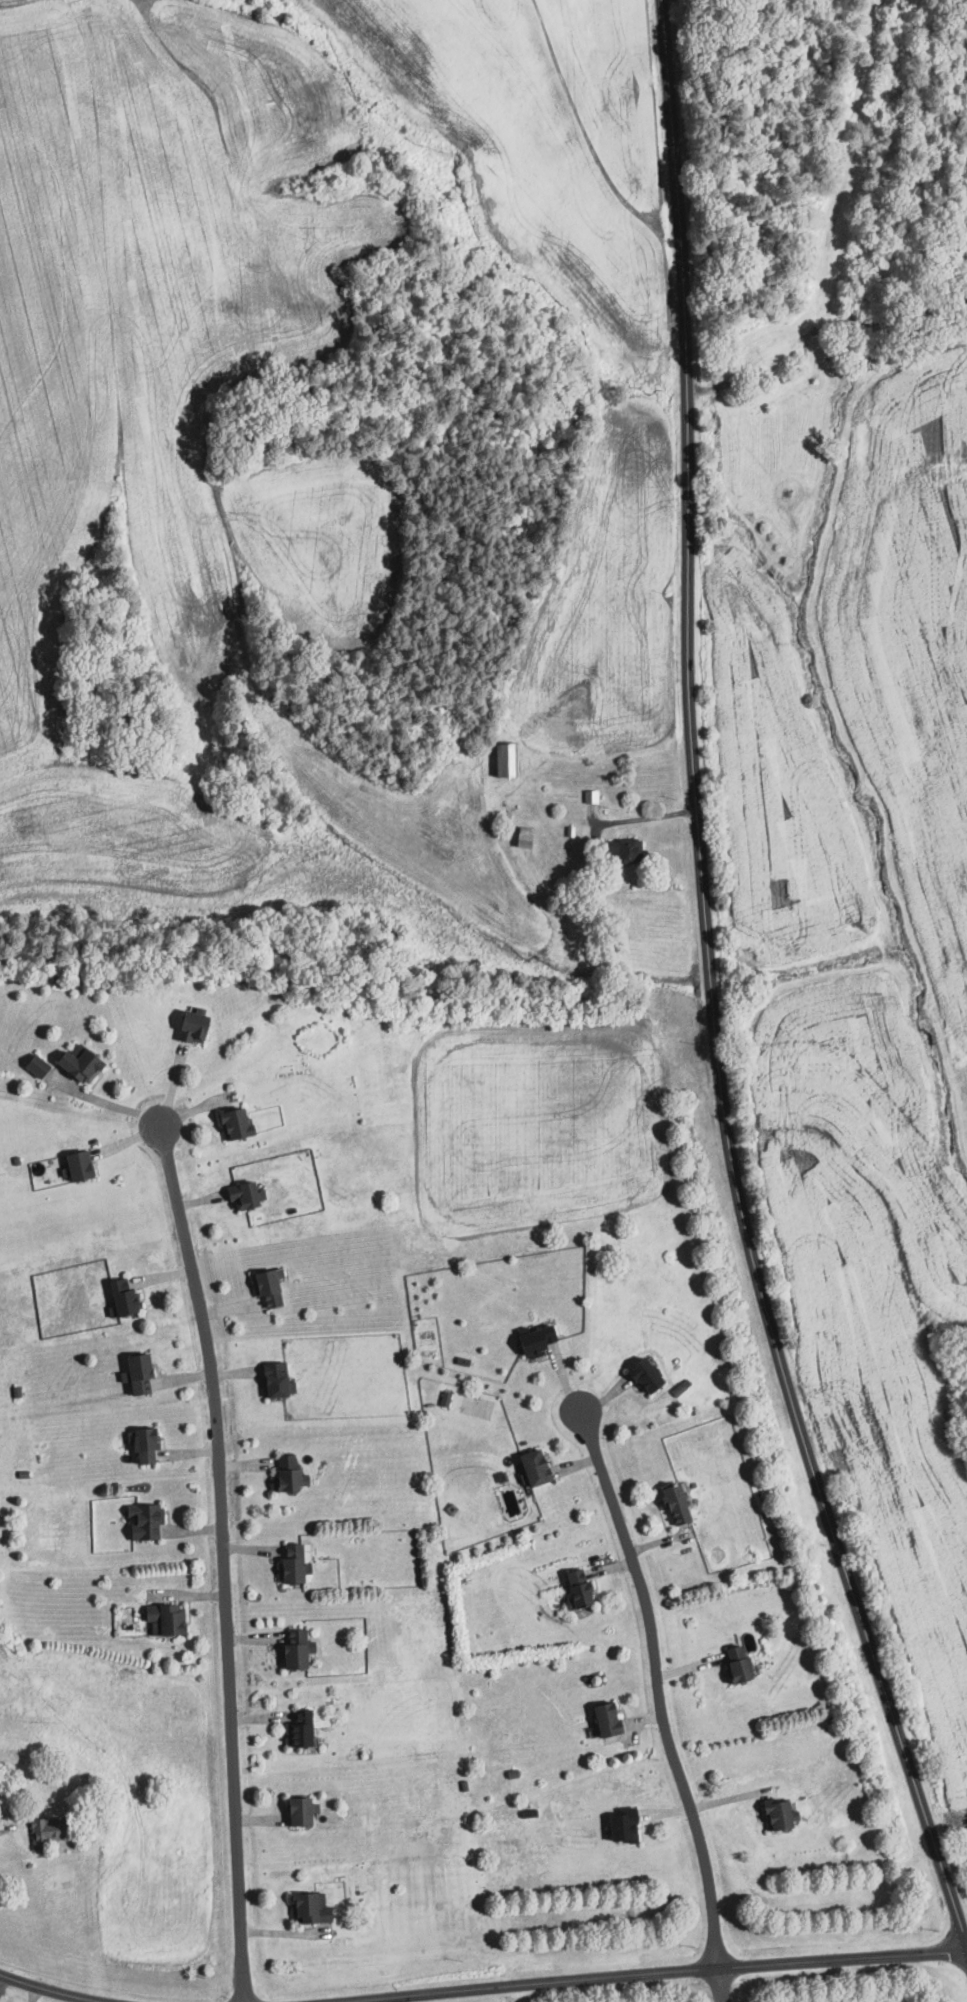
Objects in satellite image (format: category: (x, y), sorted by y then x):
building: (501, 758)
building: (589, 795)
road: (638, 819)
building: (619, 849)
road: (704, 992)
building: (199, 1025)
building: (87, 1062)
building: (41, 1065)
road: (116, 1106)
building: (238, 1123)
building: (89, 1165)
building: (248, 1195)
building: (276, 1288)
building: (127, 1298)
building: (531, 1339)
building: (147, 1372)
building: (282, 1378)
building: (443, 1398)
building: (149, 1444)
building: (530, 1467)
building: (289, 1475)
building: (671, 1503)
building: (148, 1520)
road: (226, 1562)
building: (574, 1588)
building: (170, 1618)
building: (302, 1649)
building: (733, 1664)
road: (653, 1686)
building: (603, 1719)
building: (310, 1730)
building: (308, 1811)
building: (774, 1816)
building: (619, 1825)
road: (4, 1826)
building: (52, 1828)
building: (307, 1906)
road: (750, 1967)
road: (715, 1986)
road: (5, 1987)
road: (50, 1990)
road: (437, 1992)
road: (394, 1999)

